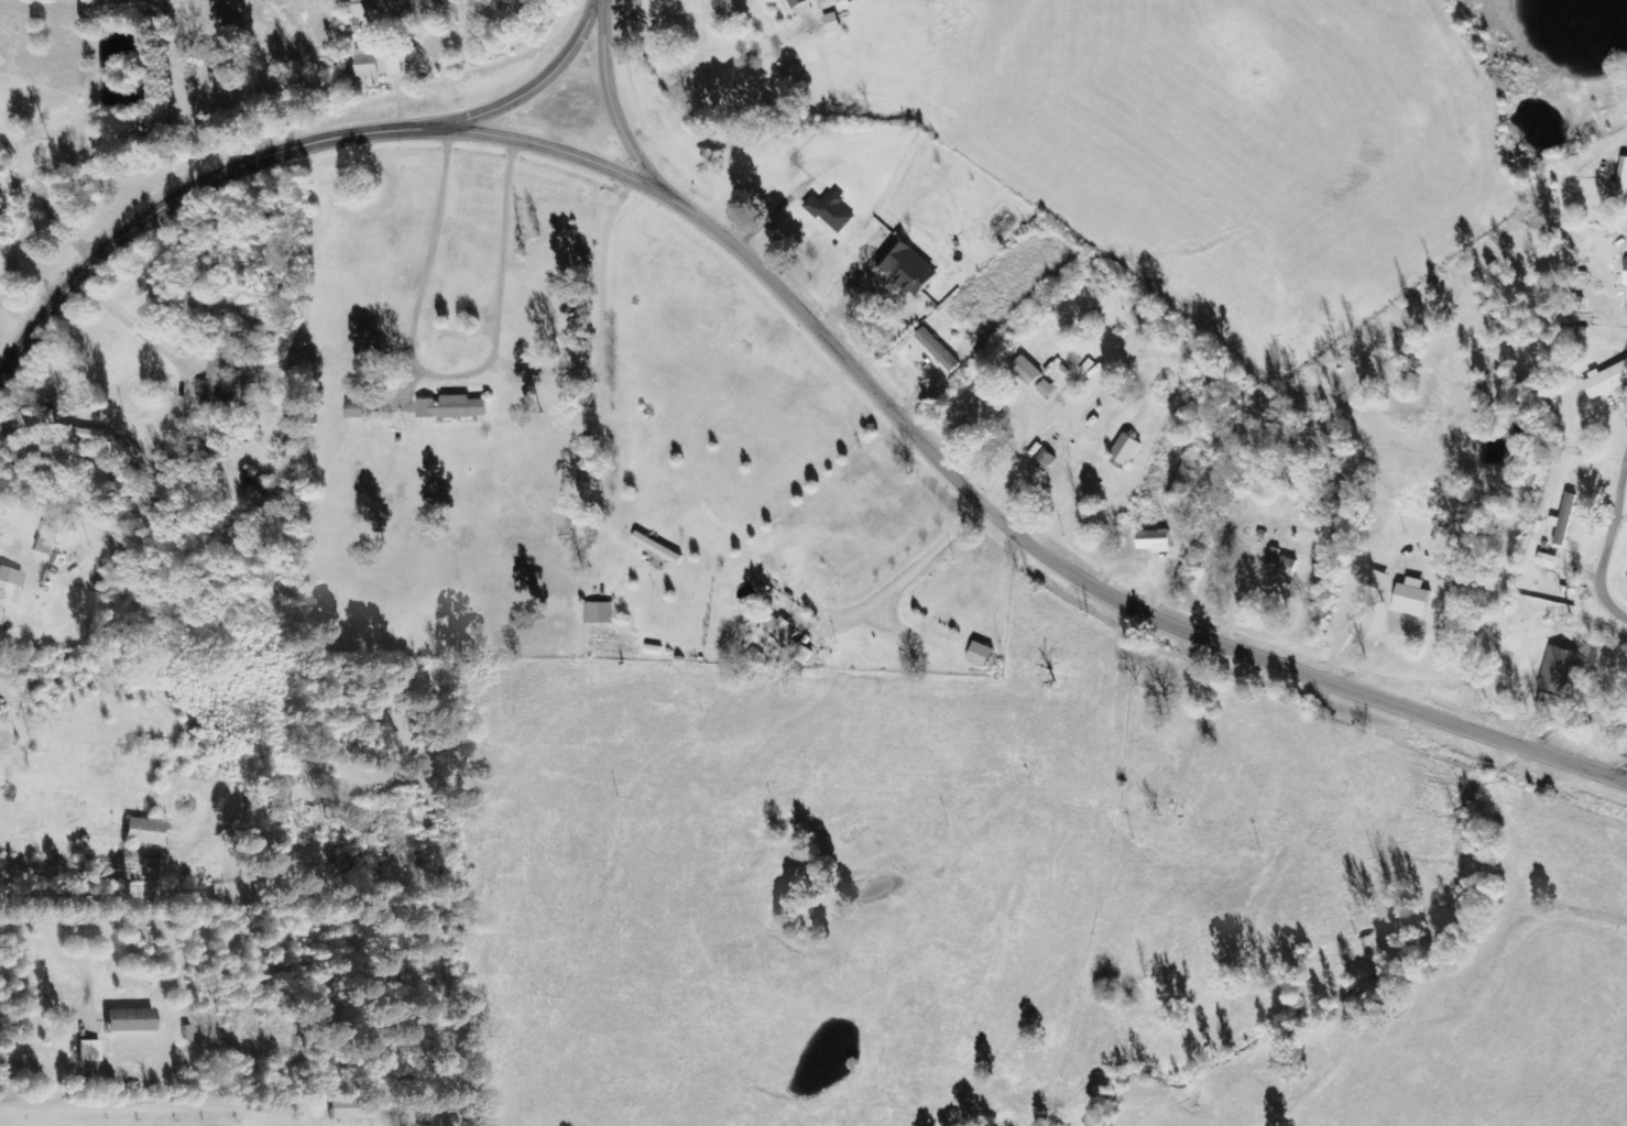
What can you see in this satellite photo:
building: (796, 2)
building: (509, 8)
building: (359, 11)
road: (113, 34)
building: (375, 63)
road: (611, 97)
road: (537, 141)
road: (280, 147)
building: (4, 156)
building: (1620, 185)
building: (831, 210)
building: (906, 266)
building: (937, 350)
building: (1026, 370)
building: (215, 381)
building: (1607, 381)
building: (1045, 389)
building: (451, 407)
building: (354, 411)
building: (1126, 449)
building: (1564, 518)
road: (1607, 537)
building: (46, 540)
building: (1154, 540)
building: (656, 548)
building: (1549, 561)
building: (1280, 565)
road: (1081, 575)
building: (1377, 580)
building: (8, 587)
building: (1411, 599)
building: (599, 612)
building: (784, 638)
building: (980, 654)
building: (1557, 670)
building: (1554, 706)
road: (83, 756)
building: (282, 796)
building: (142, 832)
road: (76, 865)
building: (128, 1020)
building: (87, 1051)
building: (347, 1109)

